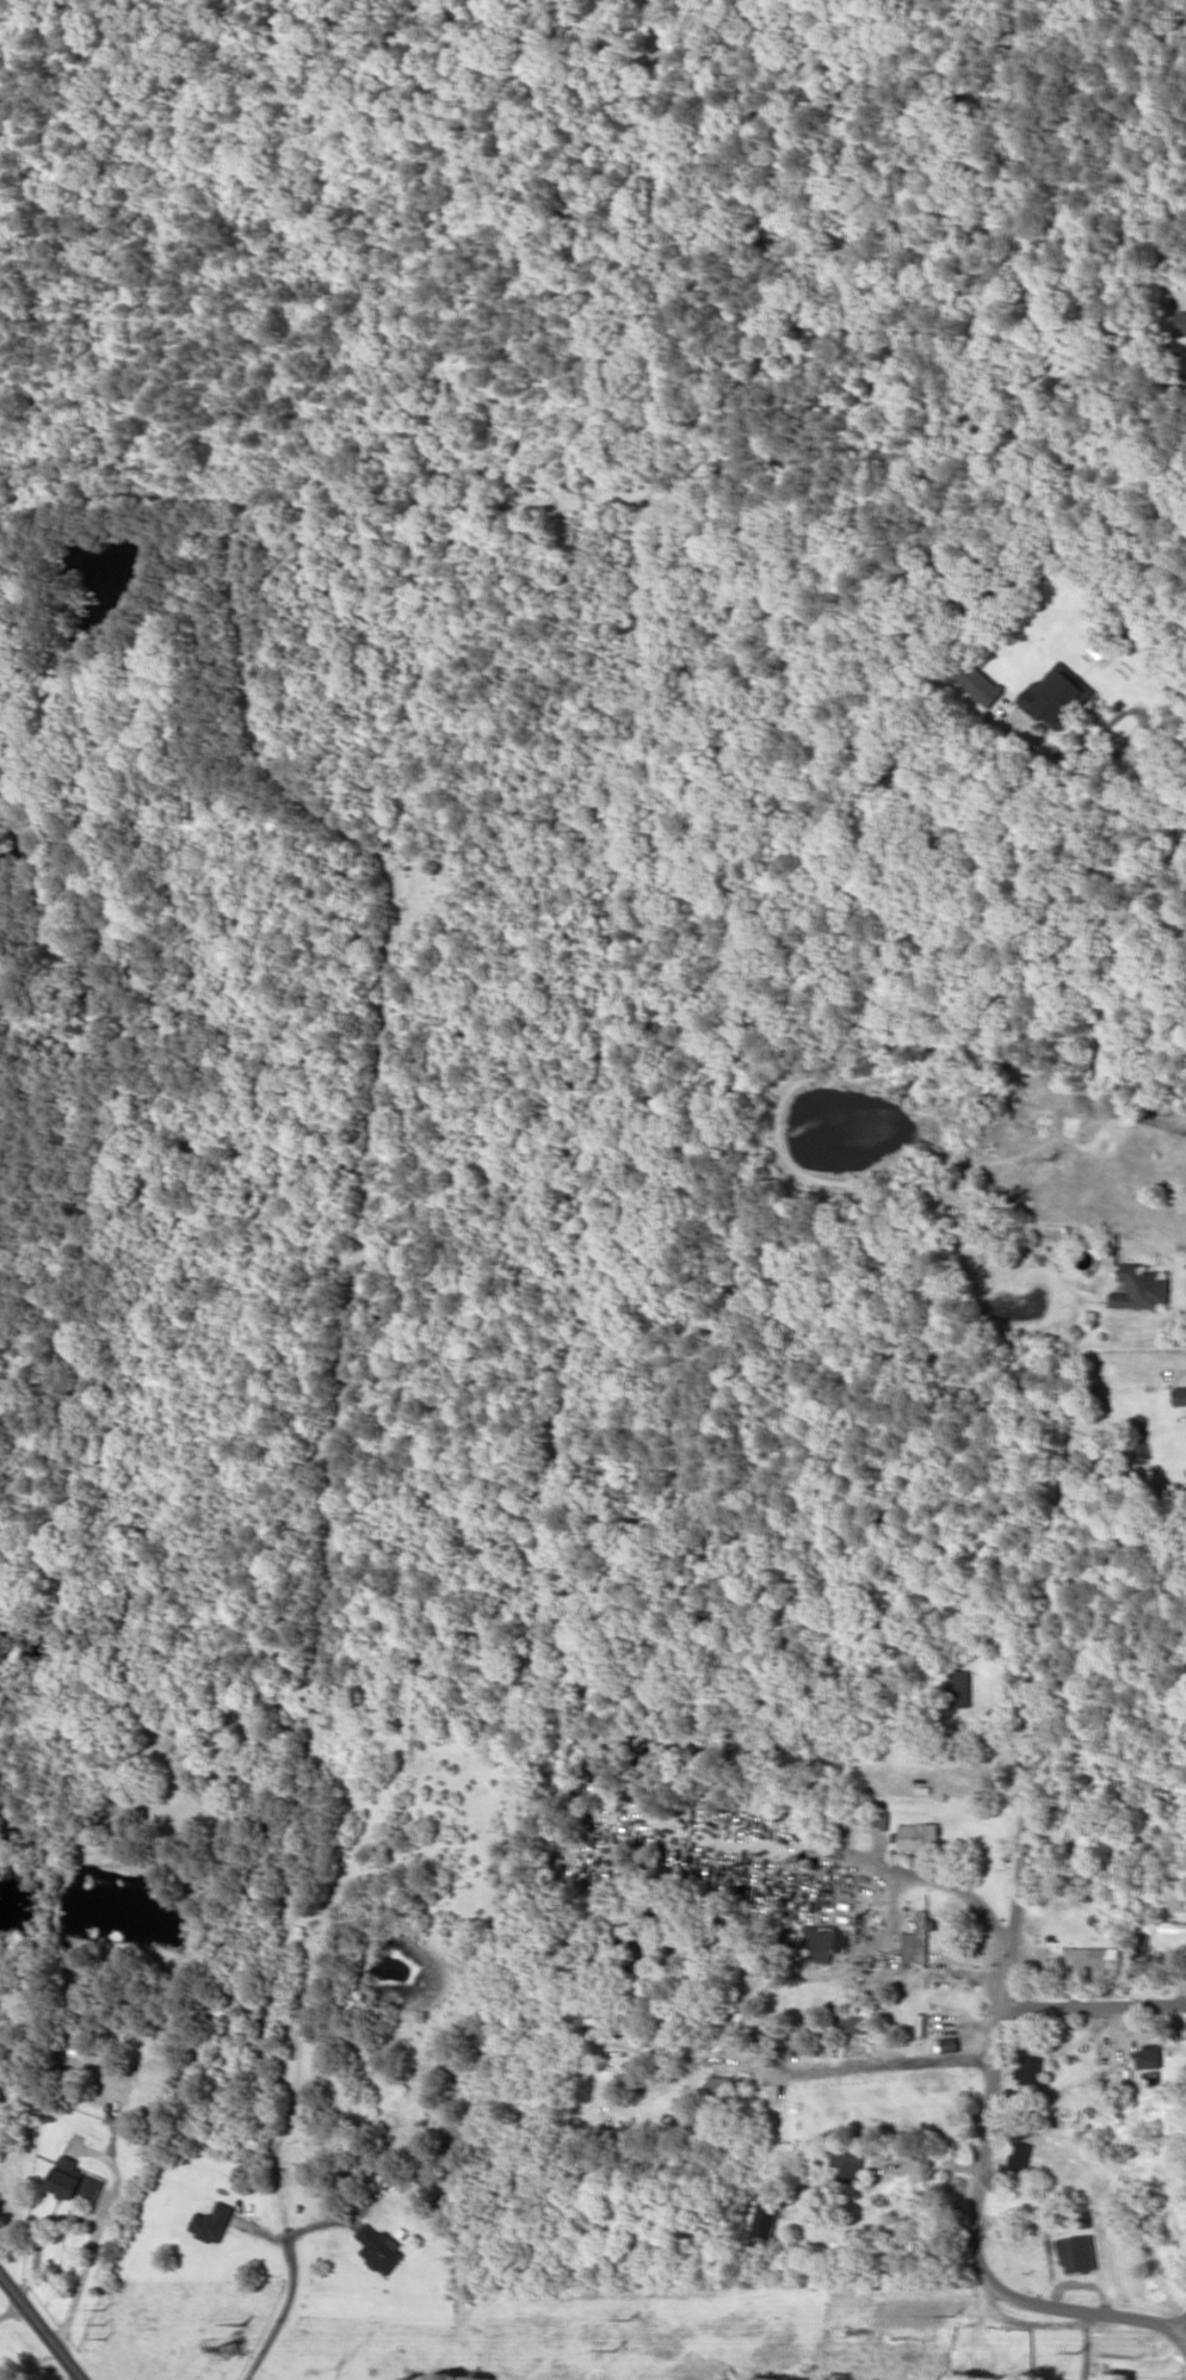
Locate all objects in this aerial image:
building: (1181, 322)
building: (1057, 696)
building: (1141, 1285)
building: (1180, 1395)
building: (959, 1688)
road: (795, 1750)
building: (919, 1836)
building: (918, 1938)
building: (822, 1941)
building: (1094, 1957)
road: (1093, 2000)
building: (853, 2018)
building: (1148, 2055)
road: (875, 2066)
building: (1029, 2070)
road: (994, 2072)
building: (722, 2083)
building: (847, 2166)
building: (74, 2179)
building: (766, 2216)
building: (211, 2221)
building: (379, 2248)
building: (1077, 2252)
power tower: (955, 2316)
power tower: (630, 2318)
power tower: (103, 2320)
road: (1179, 2322)
power tower: (243, 2323)
road: (42, 2325)
power tower: (228, 2348)
power tower: (610, 2349)
power tower: (1075, 2351)

